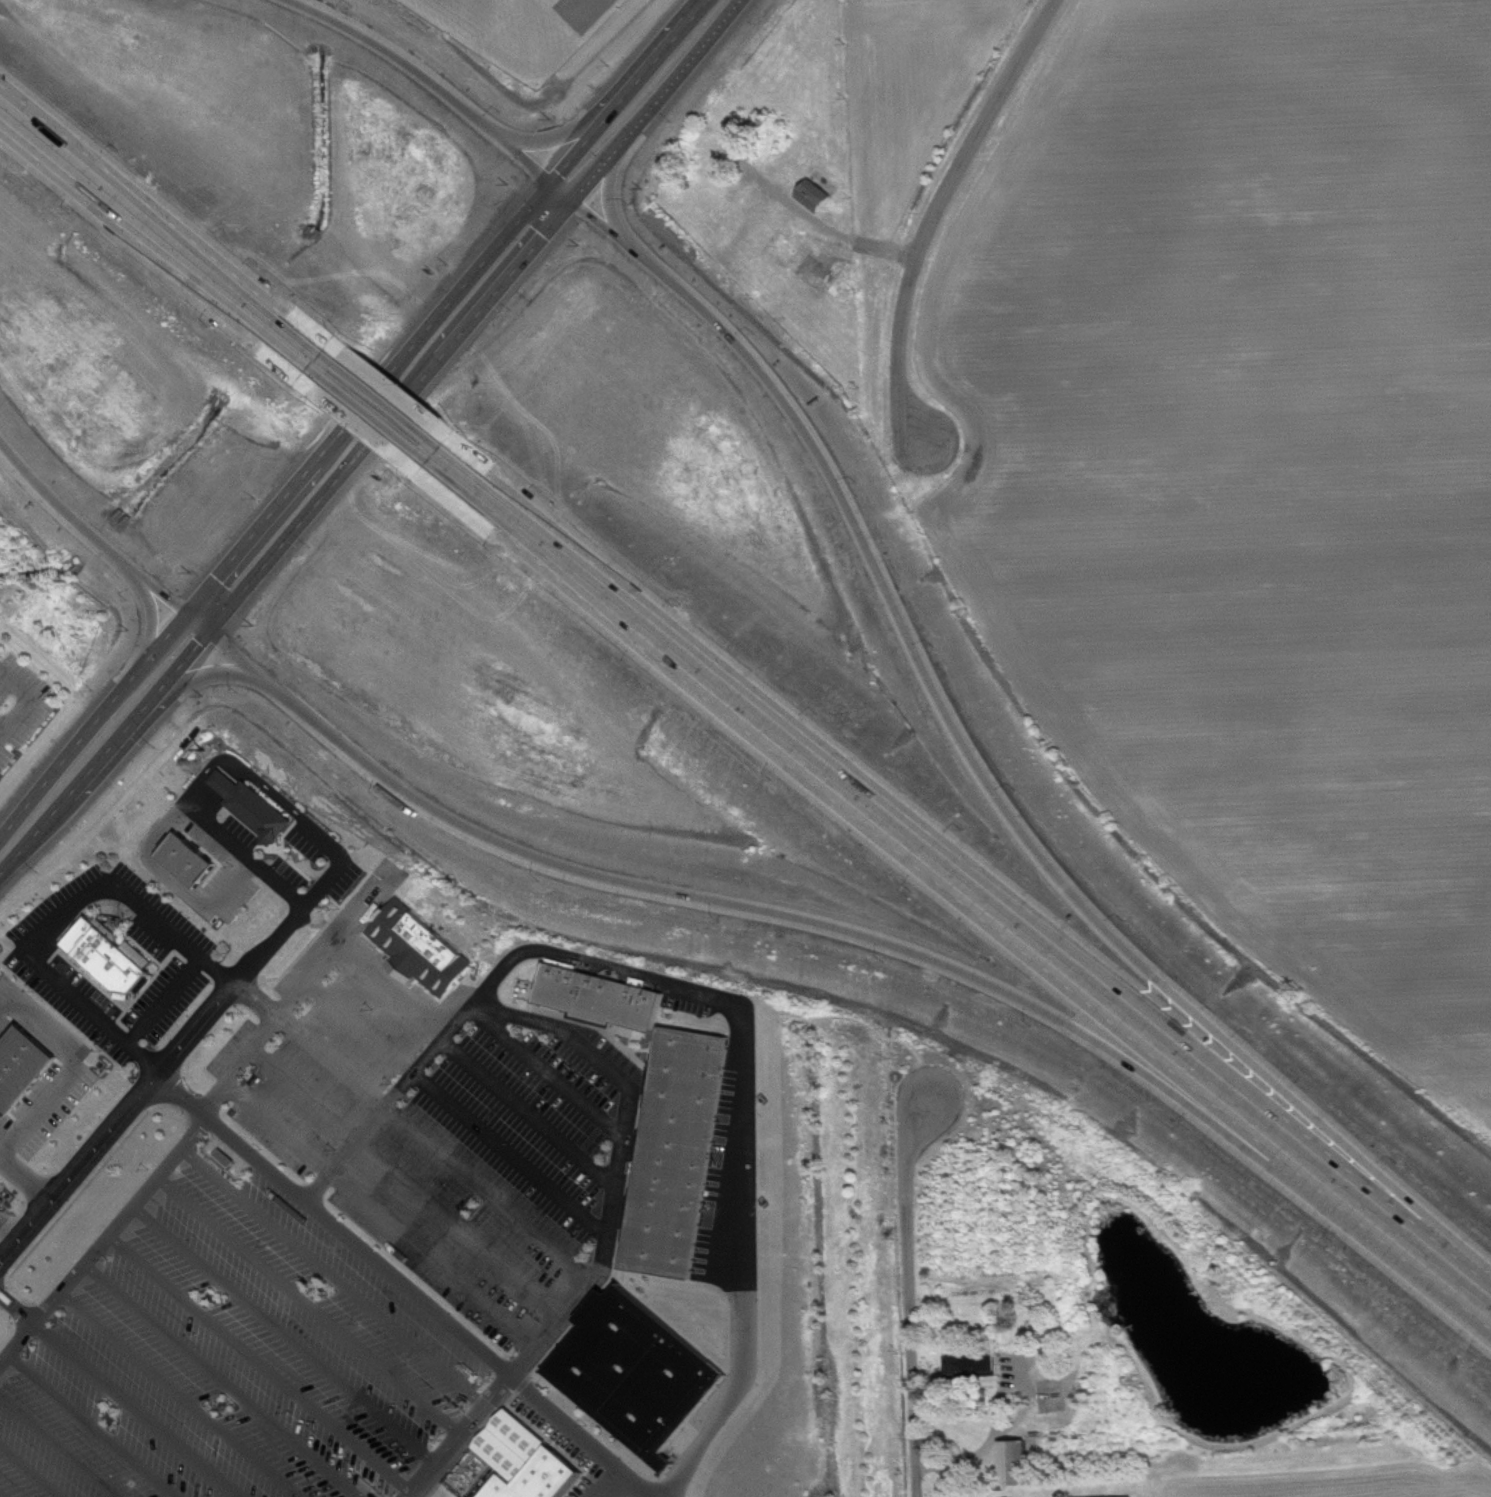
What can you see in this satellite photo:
road: (594, 7)
road: (428, 77)
road: (627, 88)
road: (654, 98)
road: (560, 187)
building: (821, 199)
road: (169, 210)
road: (942, 210)
road: (839, 235)
road: (158, 241)
road: (427, 369)
road: (395, 393)
road: (367, 399)
road: (376, 414)
crop: (1252, 471)
road: (87, 533)
road: (243, 587)
road: (148, 619)
road: (193, 625)
road: (202, 671)
parking lot: (19, 699)
road: (25, 699)
road: (90, 723)
road: (1, 725)
road: (102, 751)
road: (979, 765)
road: (238, 766)
road: (228, 767)
road: (234, 771)
road: (240, 775)
road: (217, 777)
road: (223, 782)
road: (228, 786)
road: (206, 794)
road: (199, 795)
road: (209, 798)
building: (250, 805)
parking lot: (219, 834)
road: (243, 854)
building: (184, 858)
road: (971, 862)
road: (173, 881)
parking lot: (229, 890)
road: (962, 890)
road: (765, 912)
road: (54, 919)
building: (78, 933)
building: (419, 945)
building: (111, 961)
road: (300, 992)
road: (722, 994)
building: (599, 996)
road: (162, 1000)
road: (190, 1035)
building: (20, 1064)
road: (476, 1064)
road: (72, 1066)
road: (547, 1070)
road: (457, 1106)
road: (416, 1128)
building: (676, 1151)
building: (229, 1163)
road: (411, 1178)
road: (24, 1179)
road: (382, 1213)
road: (11, 1224)
road: (607, 1232)
road: (104, 1239)
parking lot: (322, 1250)
road: (334, 1275)
road: (407, 1285)
road: (909, 1292)
road: (309, 1305)
road: (285, 1333)
road: (261, 1361)
building: (977, 1368)
building: (634, 1372)
road: (222, 1380)
road: (119, 1394)
road: (181, 1394)
building: (987, 1402)
road: (994, 1410)
road: (93, 1425)
road: (59, 1446)
building: (1019, 1466)
road: (29, 1471)
building: (539, 1477)
road: (1, 1496)

